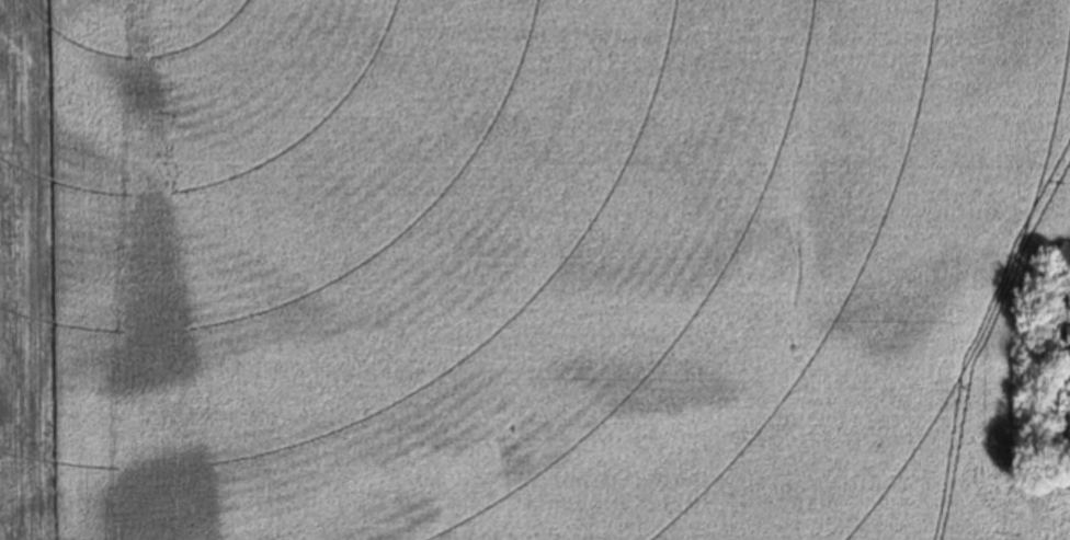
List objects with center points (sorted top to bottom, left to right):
building: (1069, 321)

